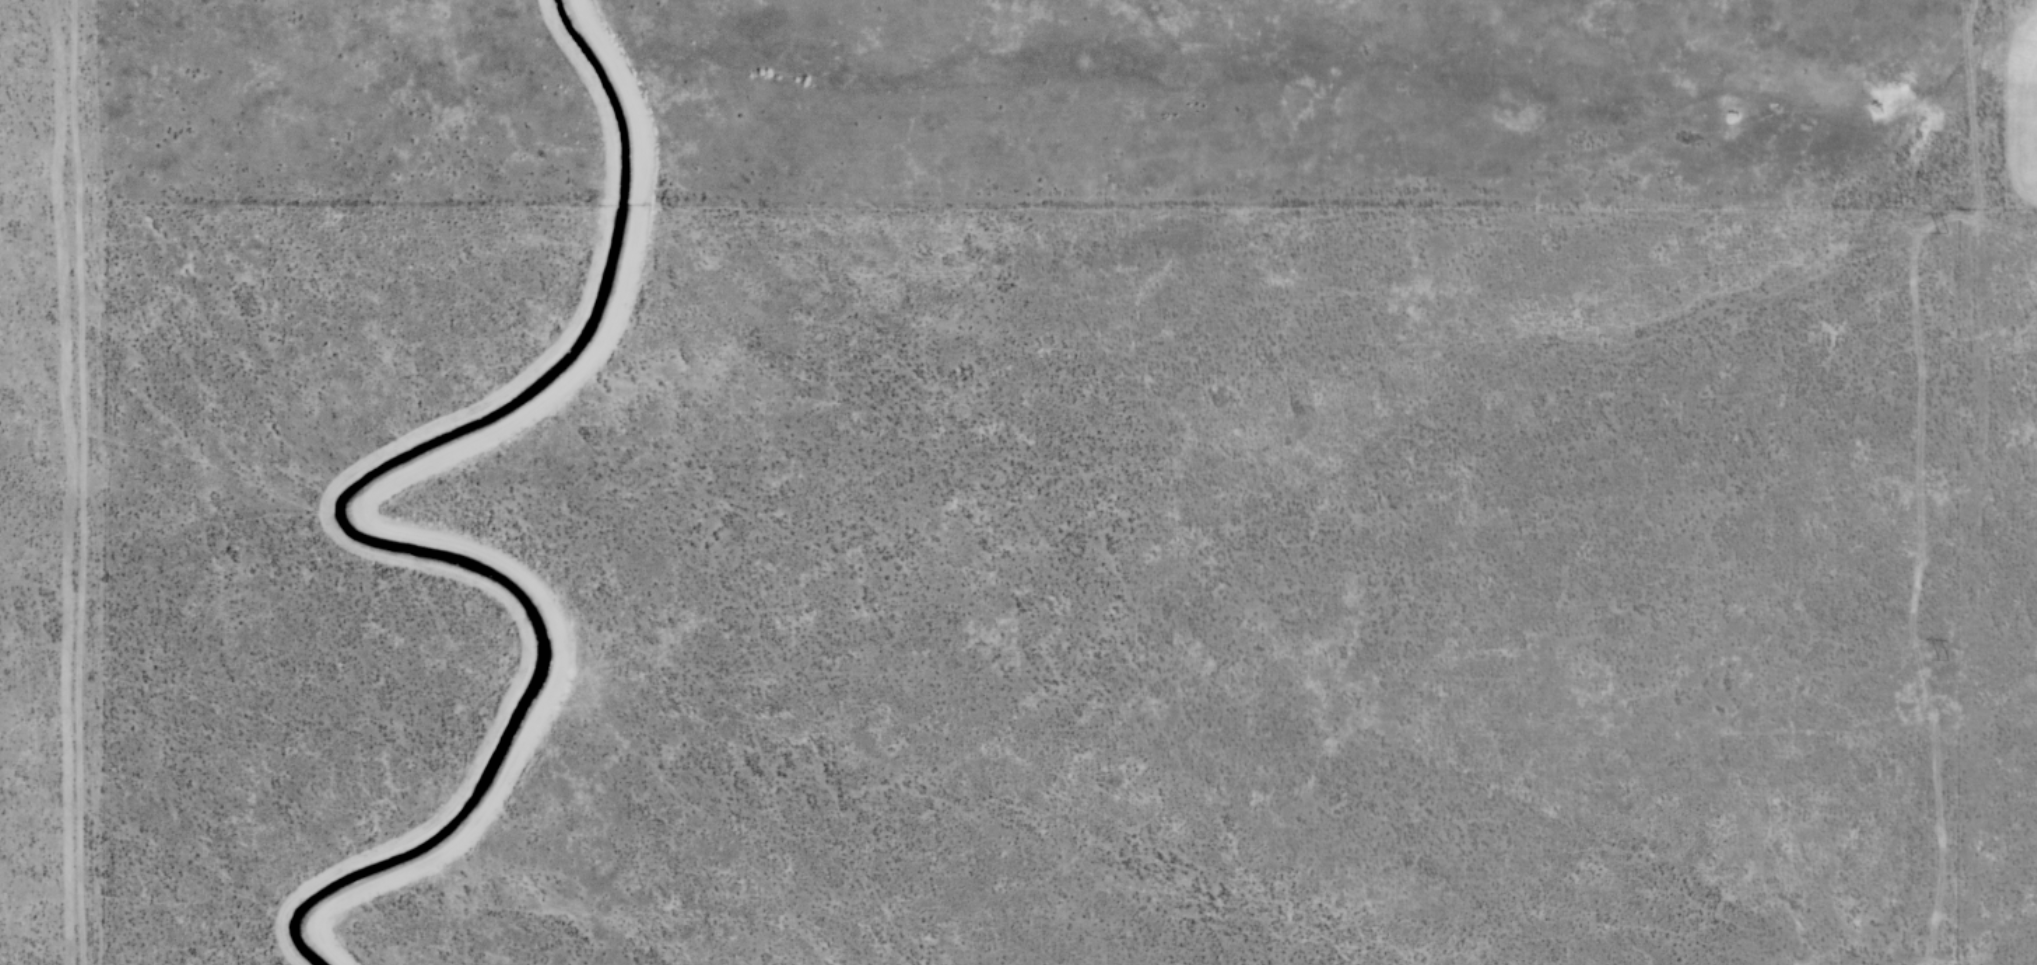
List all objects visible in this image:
power tower: (1944, 228)
power tower: (1943, 654)

